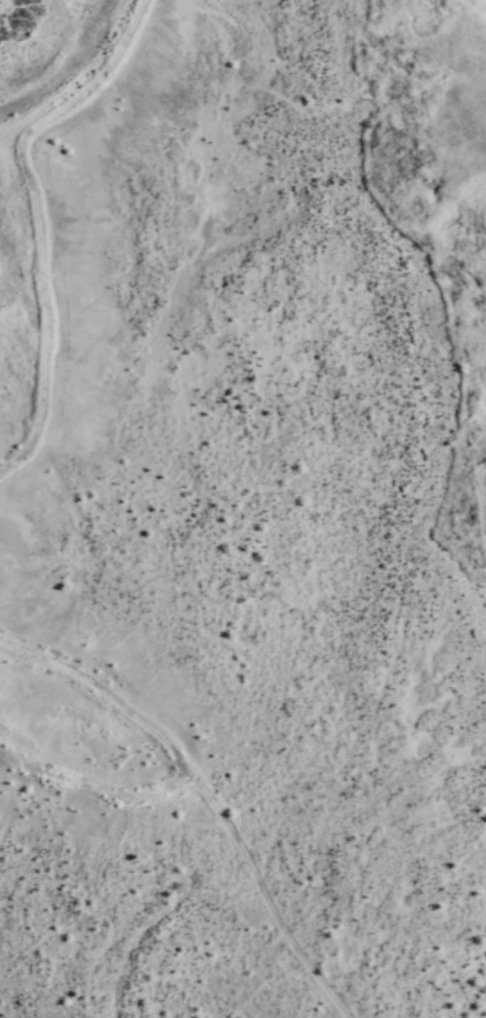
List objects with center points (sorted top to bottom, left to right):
road: (19, 209)
road: (194, 805)

